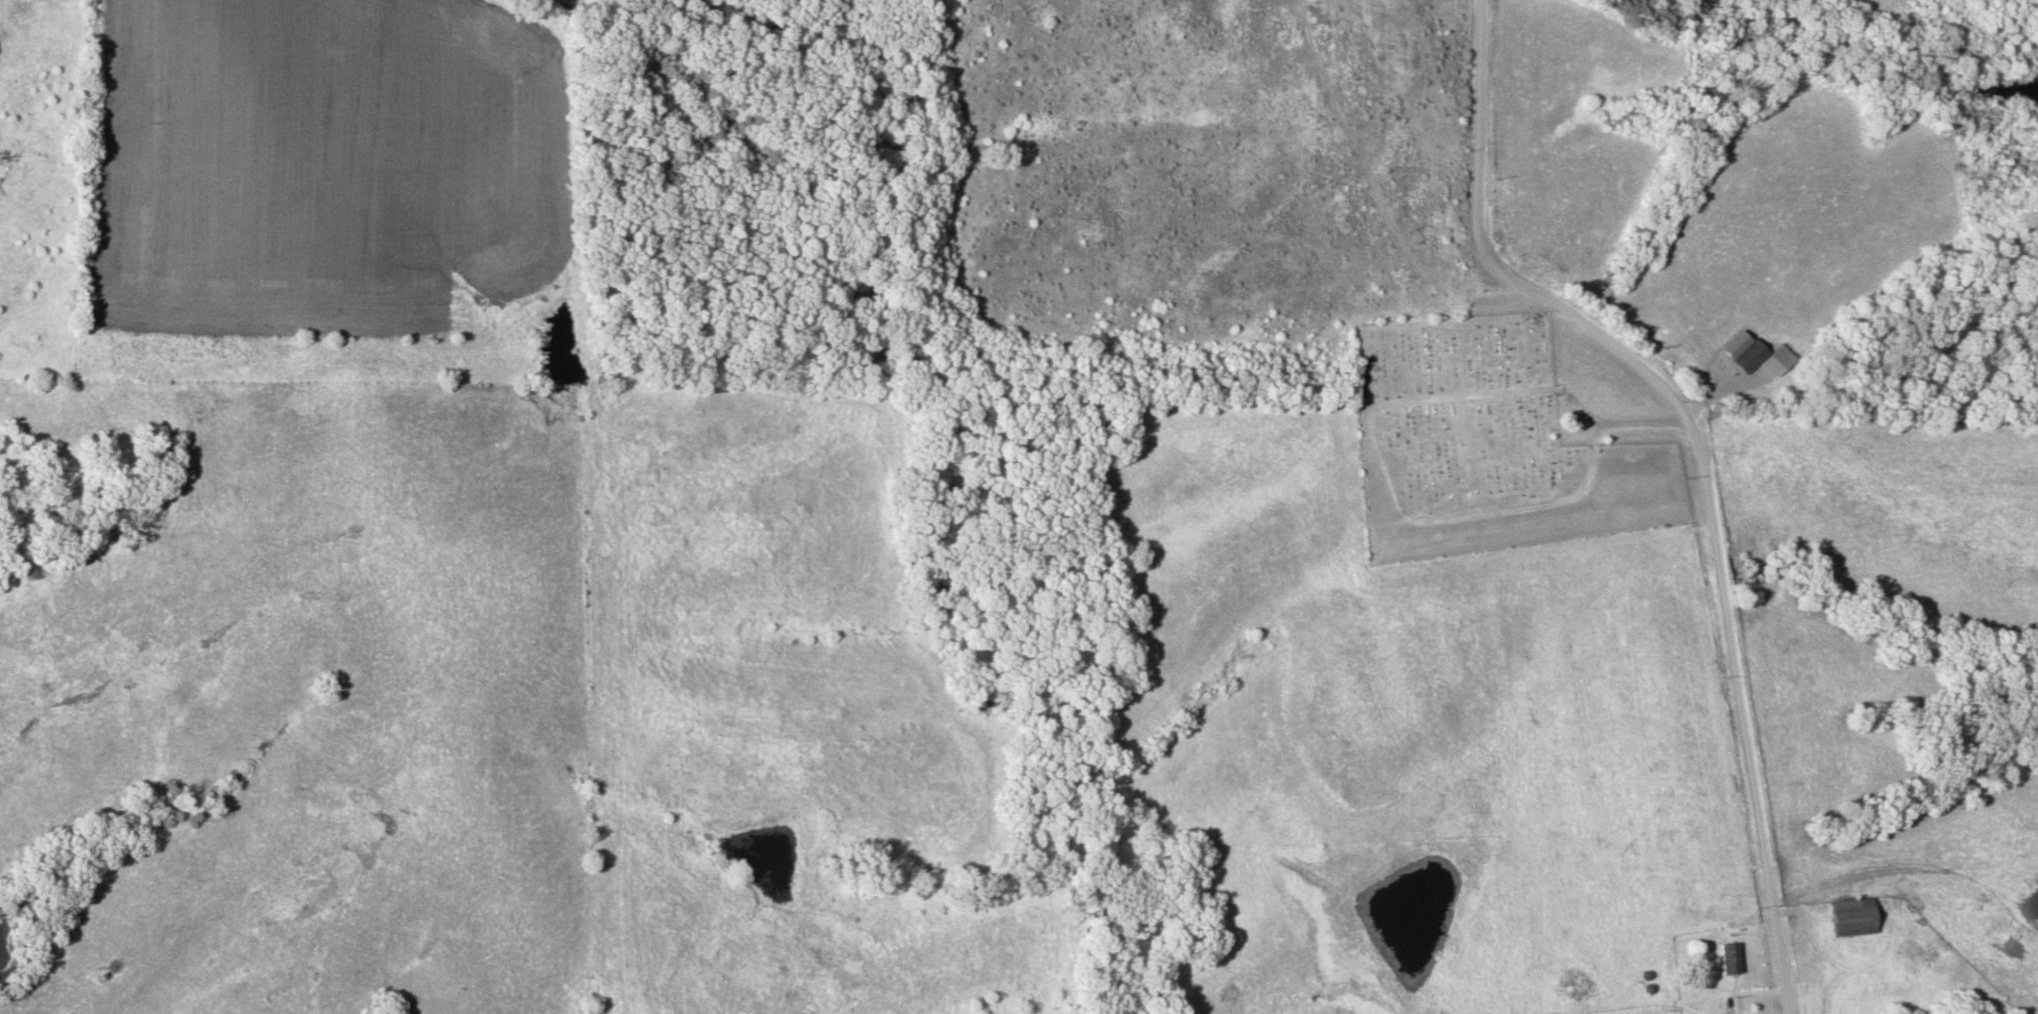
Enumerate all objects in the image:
building: (1750, 355)
park: (1489, 443)
road: (1699, 458)
building: (1856, 915)

